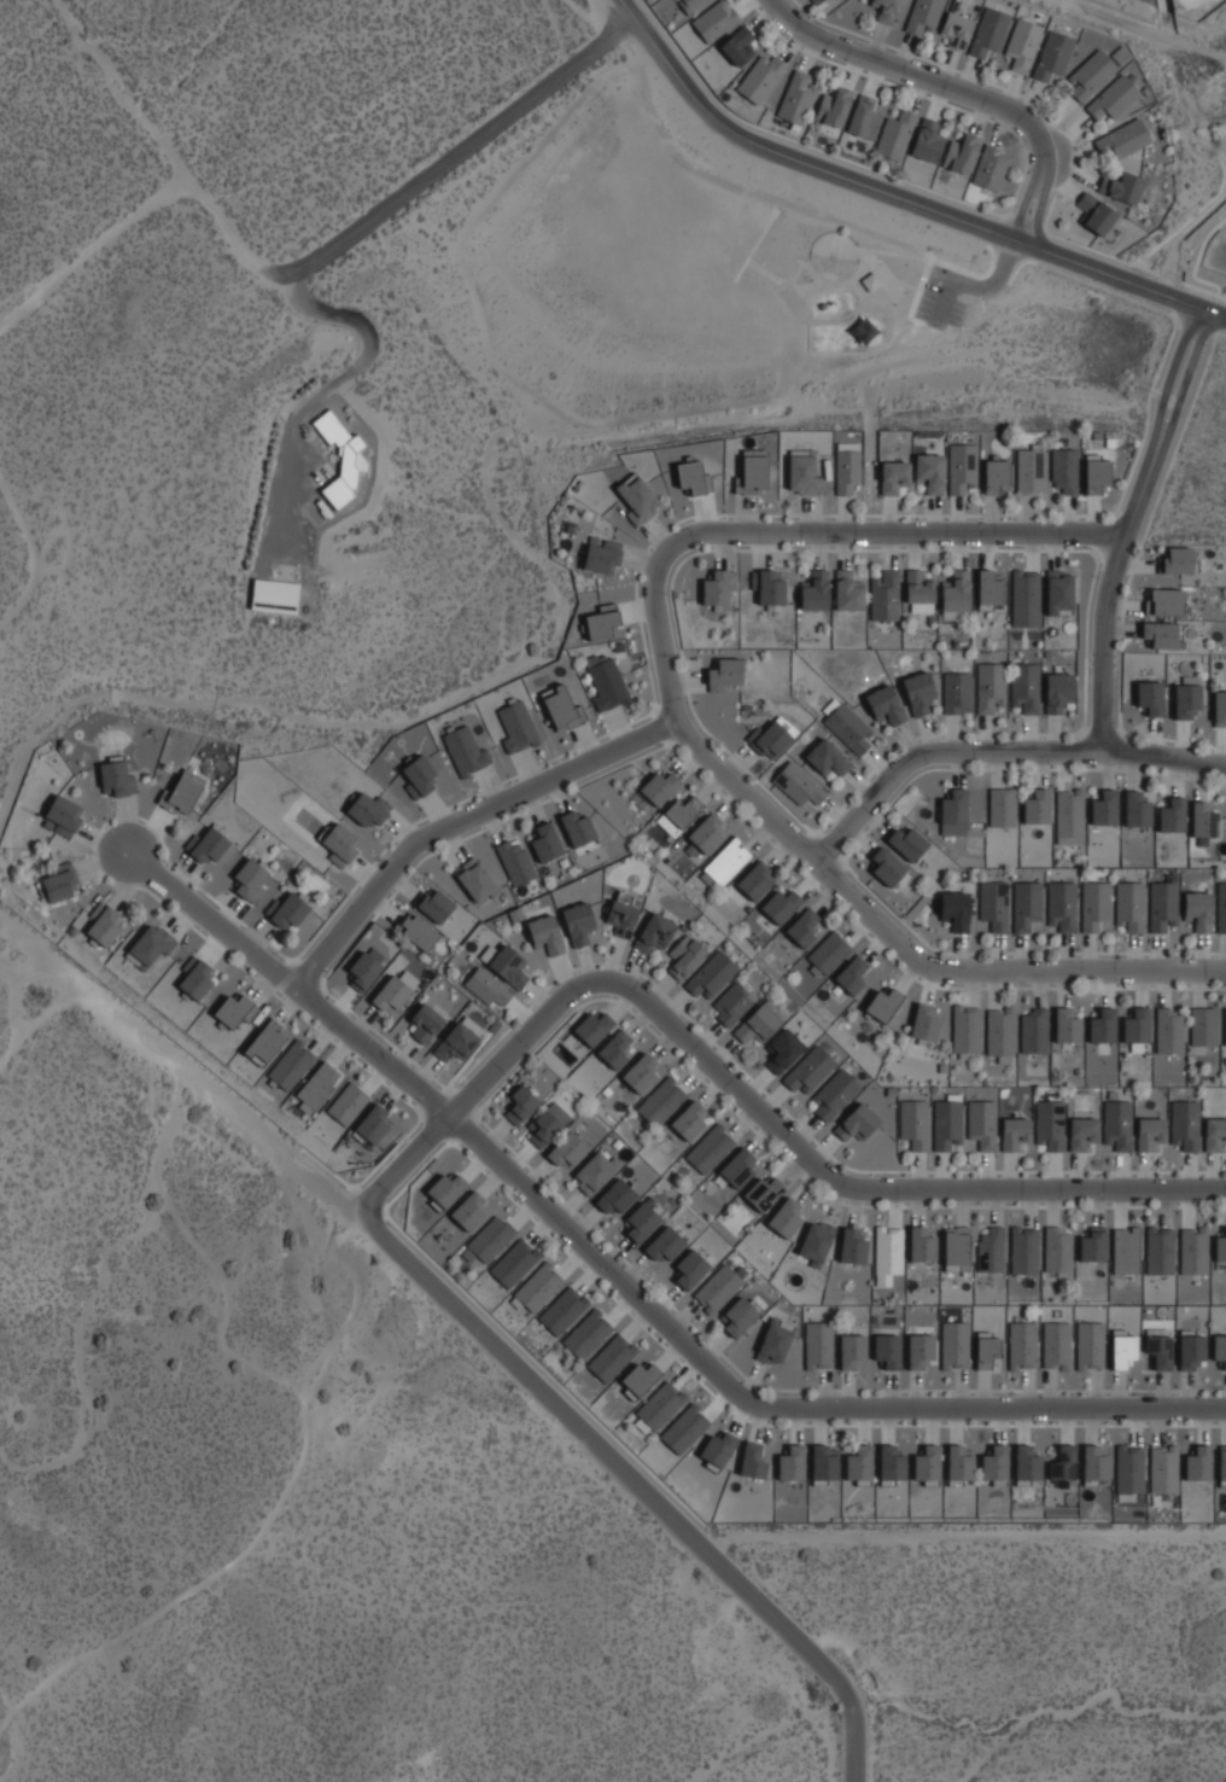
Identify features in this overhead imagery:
building: (816, 1)
building: (691, 4)
building: (886, 10)
building: (923, 16)
building: (714, 21)
building: (956, 29)
building: (988, 31)
building: (1022, 43)
building: (737, 46)
building: (1052, 56)
building: (1091, 75)
building: (760, 78)
road: (956, 89)
building: (796, 98)
building: (1113, 98)
building: (833, 106)
building: (863, 117)
building: (894, 135)
building: (1123, 139)
building: (927, 140)
road: (468, 145)
road: (168, 151)
building: (961, 153)
building: (991, 167)
building: (1122, 187)
road: (898, 197)
building: (1096, 214)
road: (94, 251)
park: (678, 278)
road: (997, 283)
road: (298, 284)
road: (946, 303)
building: (350, 461)
building: (962, 465)
building: (1066, 468)
building: (804, 470)
building: (930, 470)
building: (1032, 470)
building: (753, 471)
building: (848, 471)
building: (1097, 471)
building: (691, 474)
building: (894, 474)
building: (997, 476)
building: (637, 499)
road: (1131, 526)
building: (603, 553)
building: (1181, 558)
building: (722, 587)
building: (771, 588)
building: (920, 588)
building: (989, 589)
building: (816, 590)
building: (850, 590)
building: (1062, 592)
building: (276, 594)
building: (886, 594)
building: (958, 594)
building: (1027, 598)
building: (1168, 599)
building: (605, 623)
building: (1162, 633)
building: (726, 674)
building: (608, 682)
building: (1027, 685)
building: (992, 687)
building: (1059, 689)
building: (921, 692)
building: (958, 692)
building: (1151, 695)
building: (1189, 698)
building: (887, 704)
building: (562, 706)
building: (1220, 707)
building: (518, 724)
road: (679, 724)
building: (848, 726)
building: (772, 739)
building: (467, 749)
road: (999, 752)
building: (829, 756)
building: (422, 773)
building: (117, 778)
building: (800, 782)
building: (661, 786)
building: (183, 791)
building: (1003, 805)
building: (1038, 806)
building: (370, 808)
building: (1105, 808)
building: (1138, 809)
building: (954, 811)
building: (66, 813)
building: (1072, 814)
building: (679, 815)
building: (1173, 815)
building: (1203, 819)
building: (579, 827)
building: (708, 832)
building: (343, 841)
building: (547, 841)
building: (909, 841)
building: (211, 845)
building: (516, 860)
building: (728, 861)
building: (888, 864)
building: (251, 877)
building: (477, 879)
building: (757, 879)
building: (63, 881)
building: (994, 902)
building: (1027, 902)
building: (782, 903)
building: (1094, 903)
building: (1062, 905)
building: (1131, 905)
building: (1164, 905)
building: (1222, 905)
building: (956, 908)
building: (1198, 908)
building: (443, 909)
building: (291, 912)
building: (623, 913)
road: (216, 920)
building: (579, 922)
building: (107, 926)
building: (805, 926)
building: (419, 931)
building: (655, 931)
building: (548, 932)
building: (151, 945)
building: (830, 950)
building: (687, 954)
building: (510, 963)
building: (364, 968)
building: (713, 973)
building: (853, 973)
building: (199, 978)
building: (489, 986)
building: (392, 991)
building: (734, 1003)
building: (885, 1003)
building: (237, 1008)
building: (427, 1021)
building: (928, 1021)
building: (1068, 1023)
road: (35, 1024)
building: (758, 1024)
building: (1225, 1024)
building: (1104, 1025)
building: (1138, 1025)
building: (1204, 1025)
building: (595, 1026)
building: (968, 1027)
building: (1035, 1029)
building: (1170, 1029)
building: (1002, 1031)
building: (461, 1037)
building: (267, 1039)
building: (617, 1047)
building: (783, 1049)
building: (293, 1062)
road: (180, 1067)
building: (810, 1070)
building: (641, 1071)
building: (319, 1085)
road: (741, 1093)
building: (835, 1095)
building: (522, 1100)
building: (661, 1100)
building: (349, 1102)
building: (690, 1118)
building: (858, 1122)
building: (915, 1122)
building: (982, 1122)
building: (1051, 1122)
building: (547, 1123)
building: (1186, 1123)
building: (374, 1124)
building: (947, 1124)
building: (1119, 1124)
building: (1014, 1131)
building: (1150, 1131)
building: (1084, 1134)
building: (1215, 1134)
building: (712, 1148)
building: (567, 1149)
building: (740, 1166)
building: (594, 1171)
building: (446, 1187)
road: (531, 1190)
building: (764, 1190)
building: (618, 1196)
building: (469, 1209)
building: (787, 1216)
building: (643, 1221)
building: (490, 1239)
building: (817, 1240)
building: (922, 1244)
building: (665, 1245)
building: (1092, 1245)
building: (853, 1246)
building: (1221, 1246)
building: (958, 1247)
building: (992, 1248)
building: (1026, 1248)
building: (1058, 1248)
building: (1127, 1250)
building: (1161, 1250)
building: (1195, 1250)
building: (888, 1251)
building: (515, 1260)
building: (691, 1266)
building: (541, 1285)
building: (719, 1287)
building: (565, 1309)
building: (740, 1315)
building: (588, 1334)
building: (776, 1340)
building: (821, 1344)
building: (957, 1344)
building: (1023, 1344)
building: (1057, 1344)
building: (1092, 1344)
building: (1125, 1347)
building: (1220, 1347)
building: (888, 1349)
building: (1160, 1349)
building: (853, 1350)
building: (921, 1350)
building: (988, 1351)
building: (1193, 1351)
building: (613, 1356)
building: (641, 1378)
building: (661, 1404)
building: (687, 1428)
building: (718, 1449)
building: (753, 1460)
building: (824, 1462)
building: (1028, 1462)
building: (1064, 1462)
building: (793, 1463)
building: (860, 1463)
building: (892, 1463)
building: (928, 1463)
building: (961, 1463)
building: (1096, 1463)
building: (1199, 1463)
building: (996, 1464)
building: (1224, 1466)
building: (1164, 1467)
building: (1131, 1468)
road: (636, 1483)

